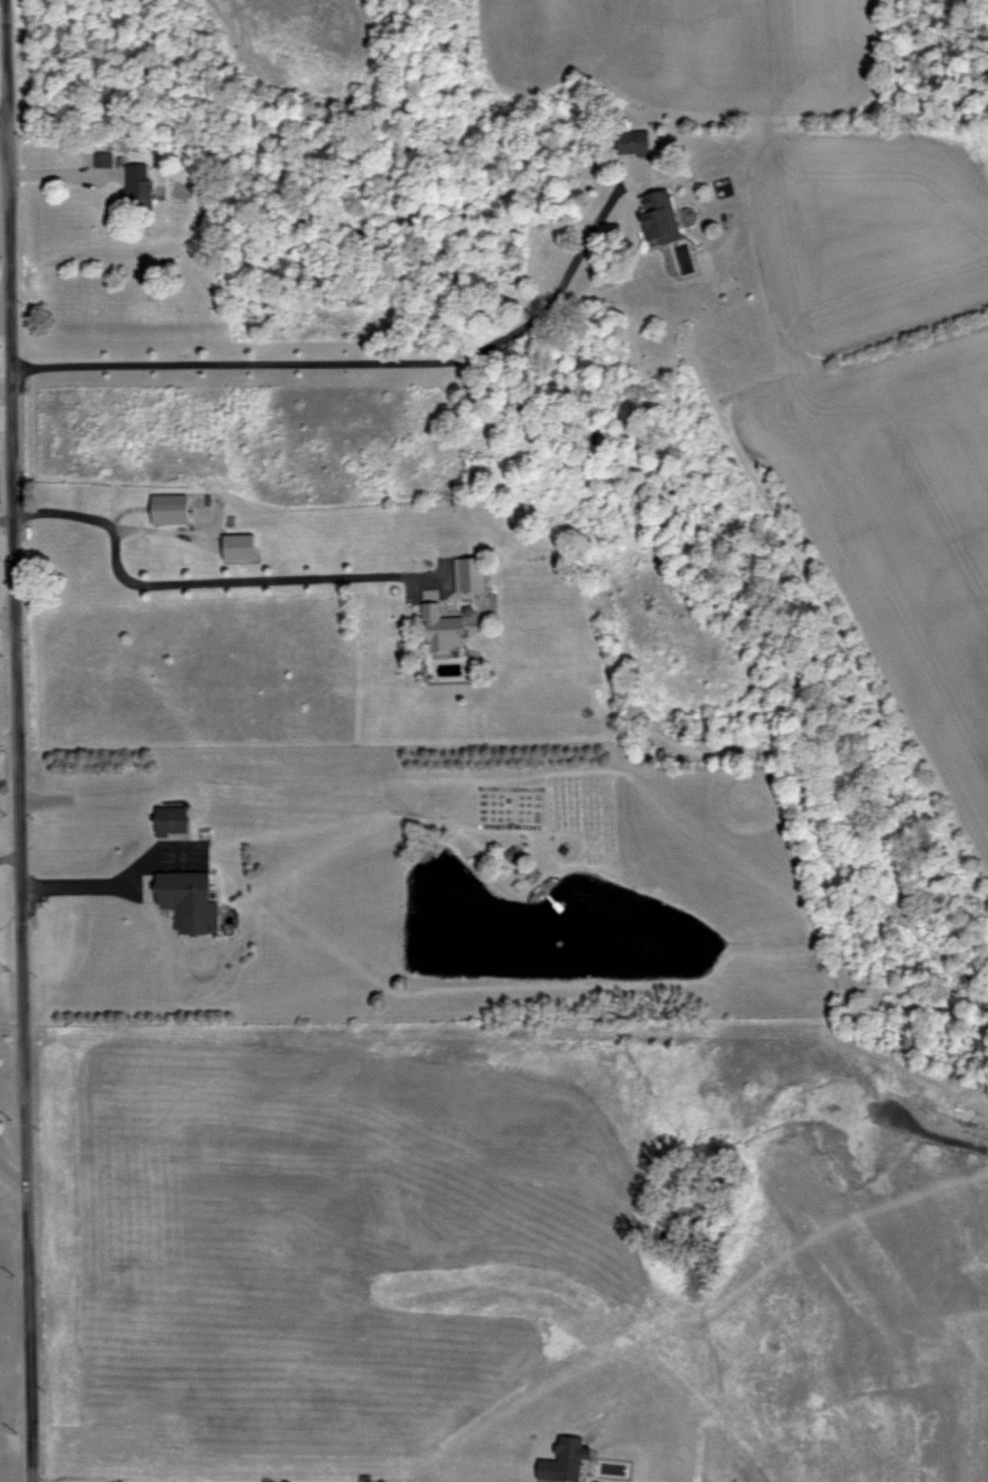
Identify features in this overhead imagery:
road: (3, 131)
building: (633, 142)
building: (104, 160)
building: (139, 185)
building: (660, 216)
road: (363, 367)
building: (170, 509)
road: (159, 532)
building: (238, 548)
road: (203, 586)
road: (6, 619)
building: (441, 626)
road: (14, 741)
road: (7, 744)
road: (227, 779)
building: (173, 824)
road: (8, 864)
road: (74, 886)
building: (189, 902)
road: (11, 1027)
road: (12, 1170)
building: (565, 1461)
road: (363, 1481)

